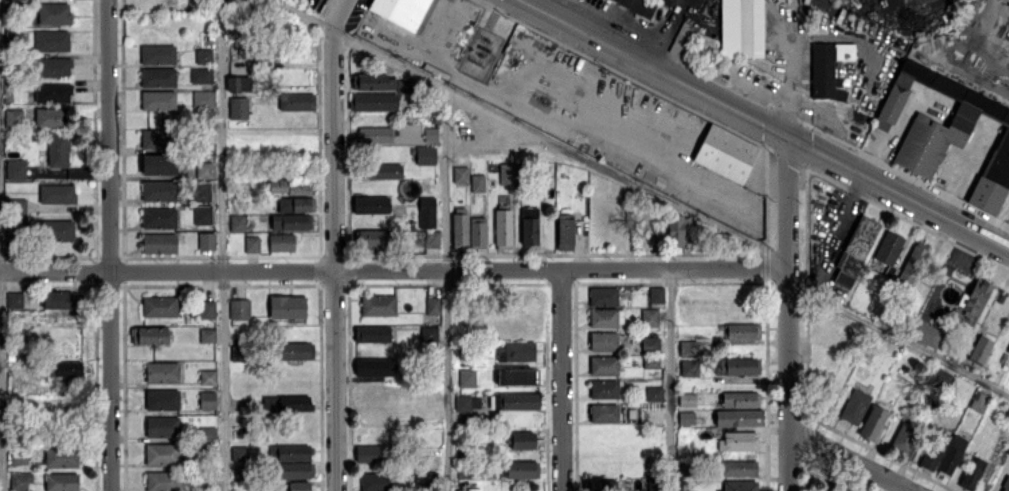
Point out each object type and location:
road: (340, 15)
road: (980, 35)
road: (766, 123)
road: (530, 132)
road: (111, 245)
road: (222, 245)
road: (334, 261)
road: (393, 272)
road: (448, 290)
road: (788, 312)
road: (898, 339)
road: (561, 381)
road: (671, 381)
road: (1, 382)
road: (850, 460)
road: (897, 487)

